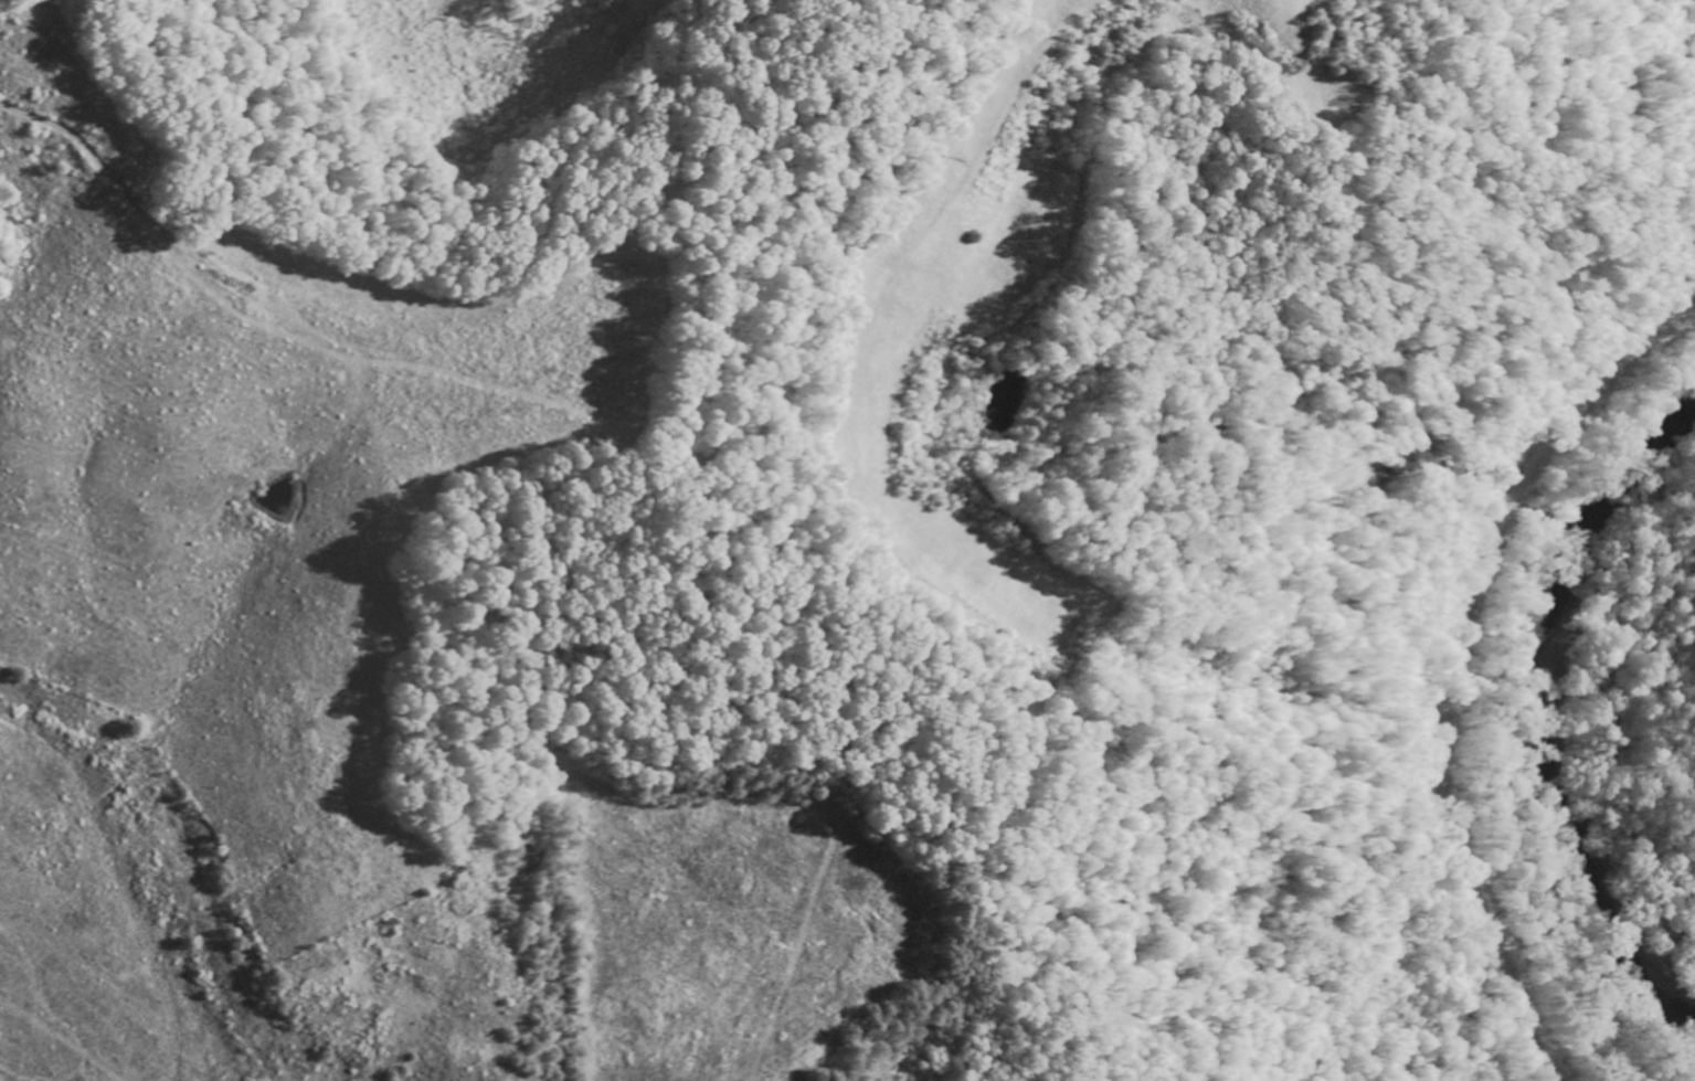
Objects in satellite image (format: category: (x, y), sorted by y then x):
road: (1452, 653)

